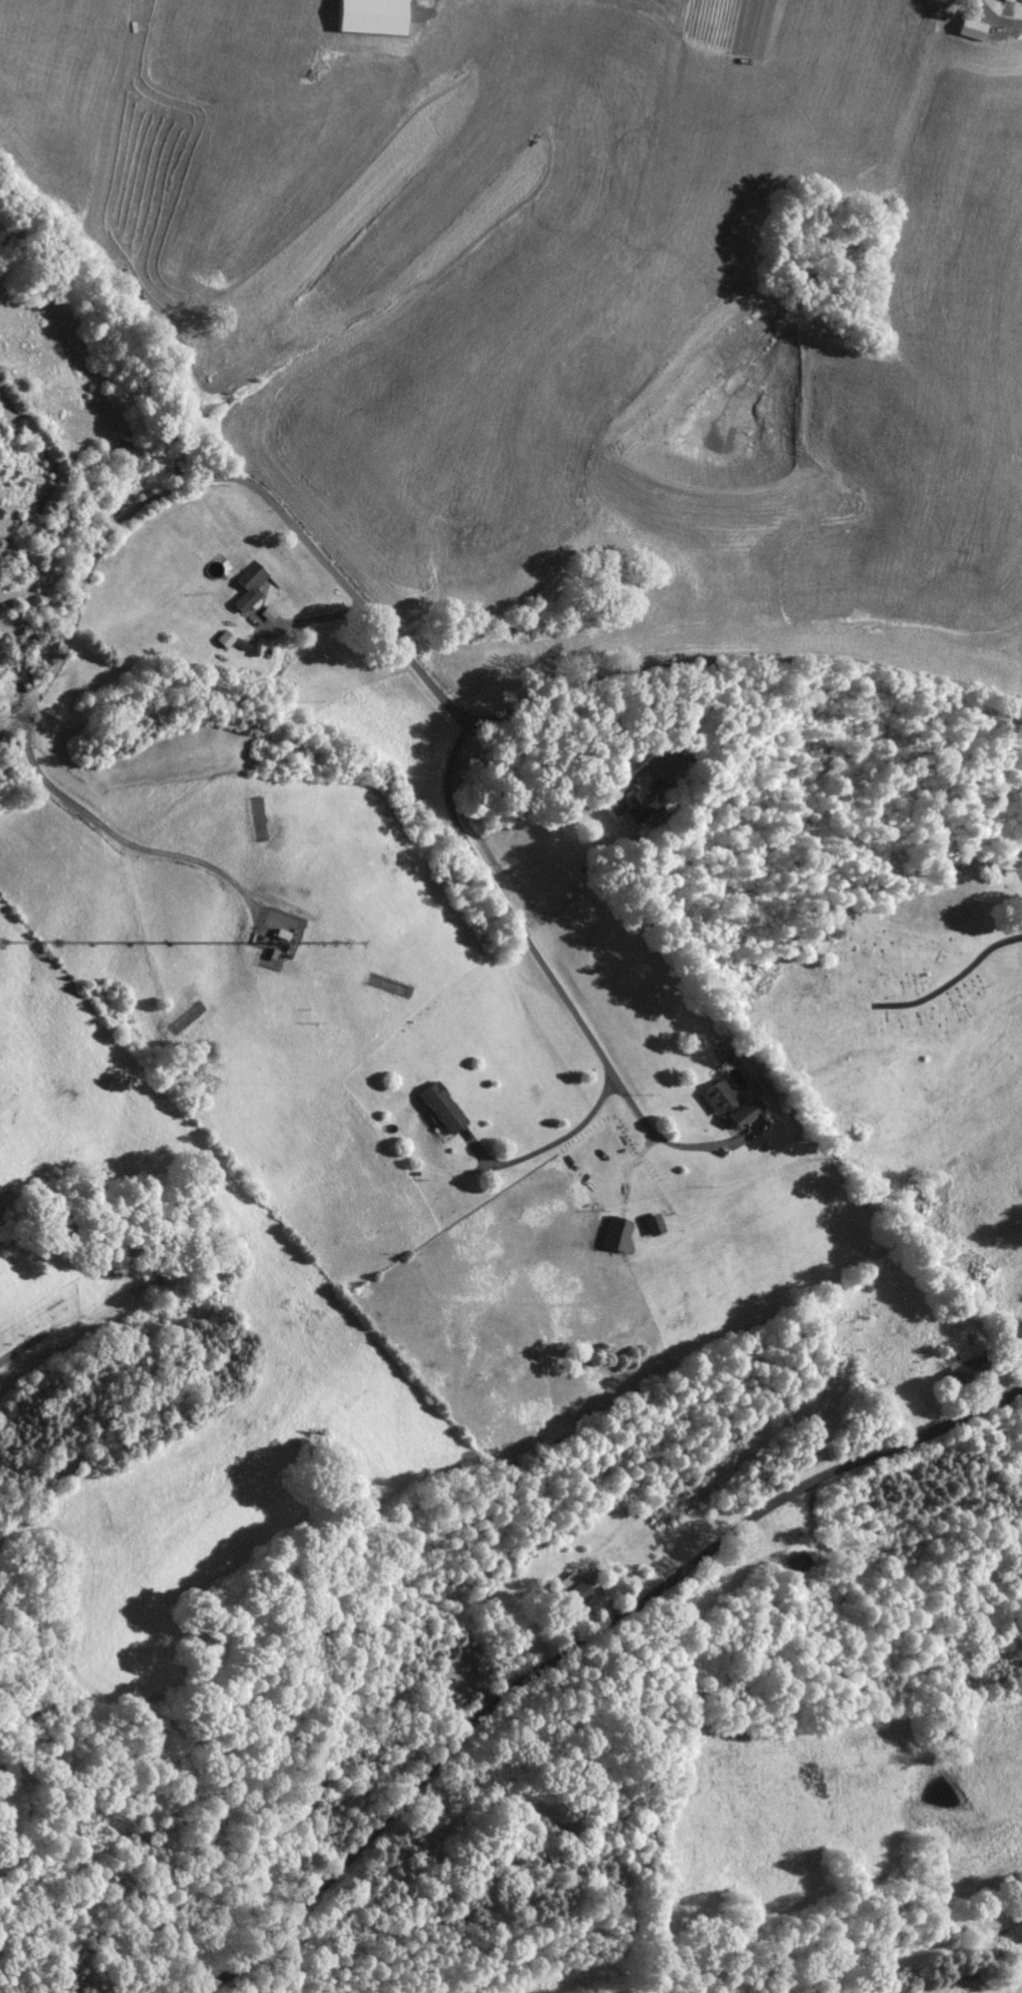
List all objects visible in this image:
building: (1016, 1)
building: (380, 16)
building: (978, 27)
road: (276, 510)
building: (254, 585)
building: (273, 613)
building: (230, 639)
road: (756, 664)
road: (52, 678)
building: (643, 804)
road: (516, 920)
building: (736, 1103)
building: (448, 1107)
road: (551, 1146)
building: (658, 1224)
building: (621, 1233)
building: (802, 1562)
building: (578, 1587)
road: (575, 1649)

